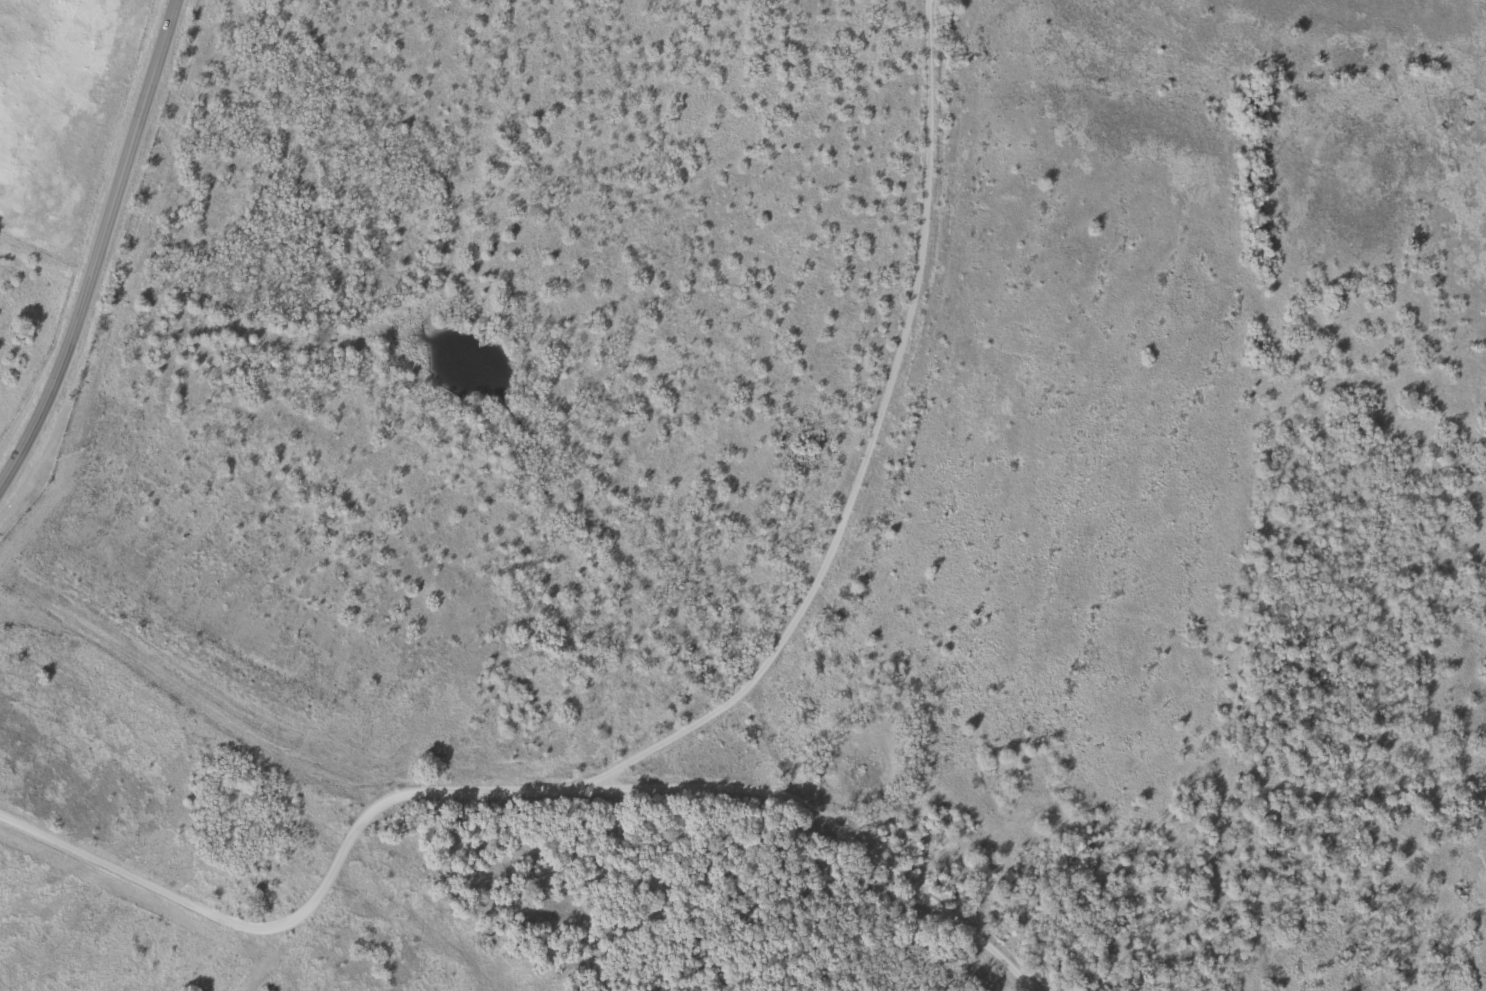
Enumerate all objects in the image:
road: (101, 246)
road: (505, 792)

